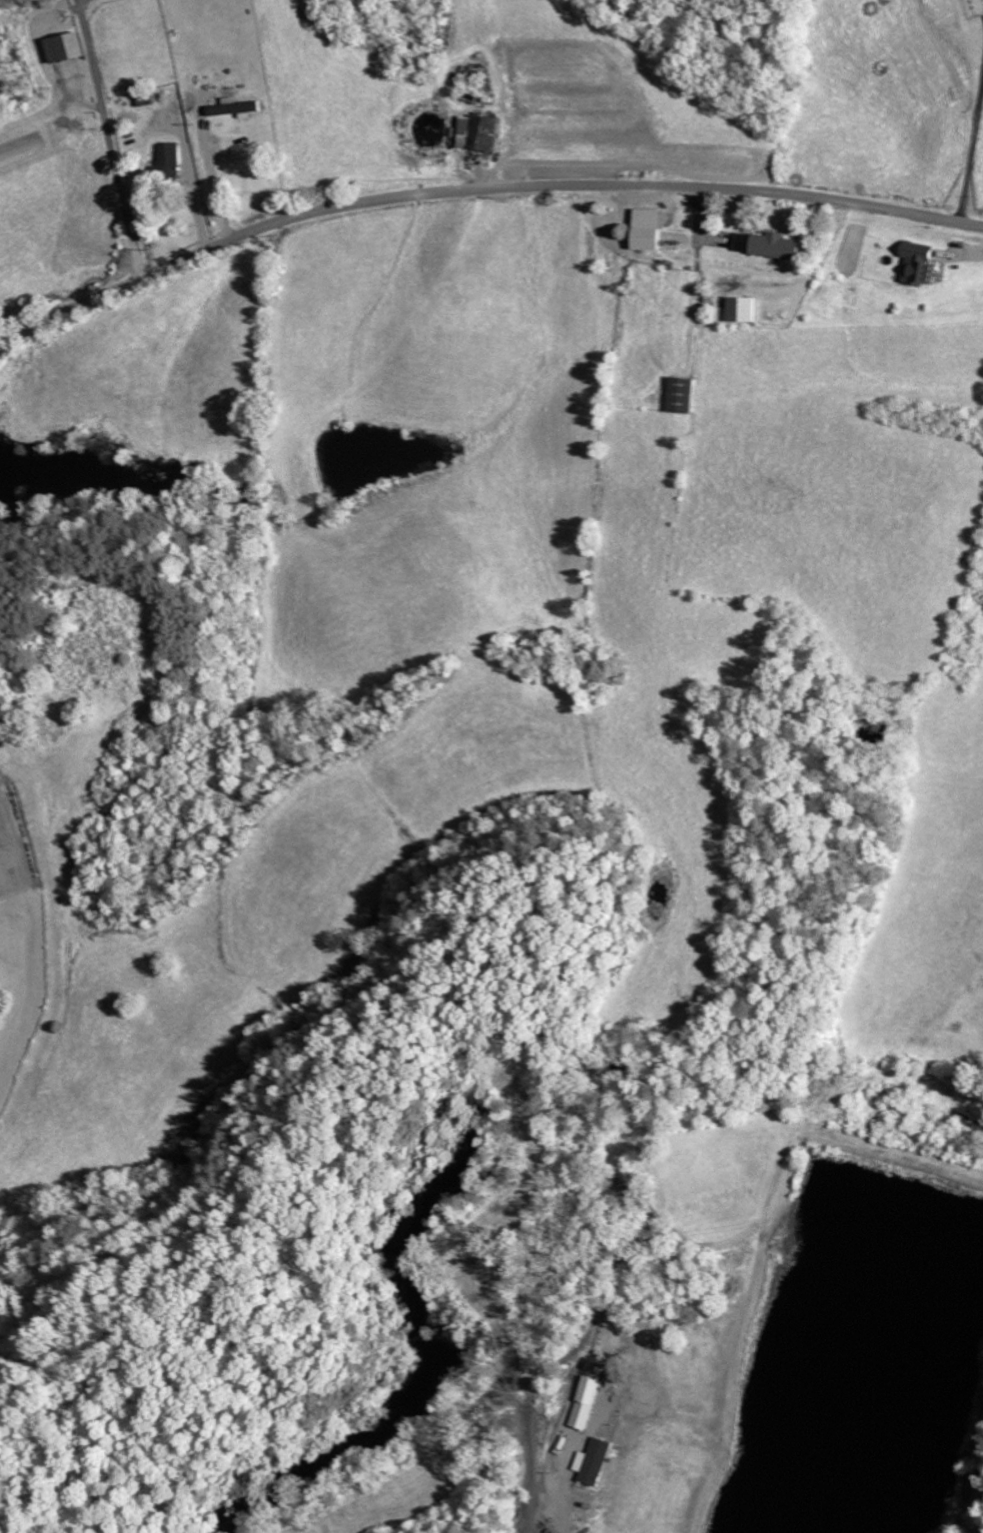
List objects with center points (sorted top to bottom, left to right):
building: (77, 47)
building: (236, 107)
building: (478, 133)
building: (172, 161)
road: (479, 188)
building: (651, 240)
building: (744, 243)
building: (778, 247)
building: (922, 264)
building: (743, 310)
building: (683, 395)
building: (584, 1403)
building: (593, 1462)

